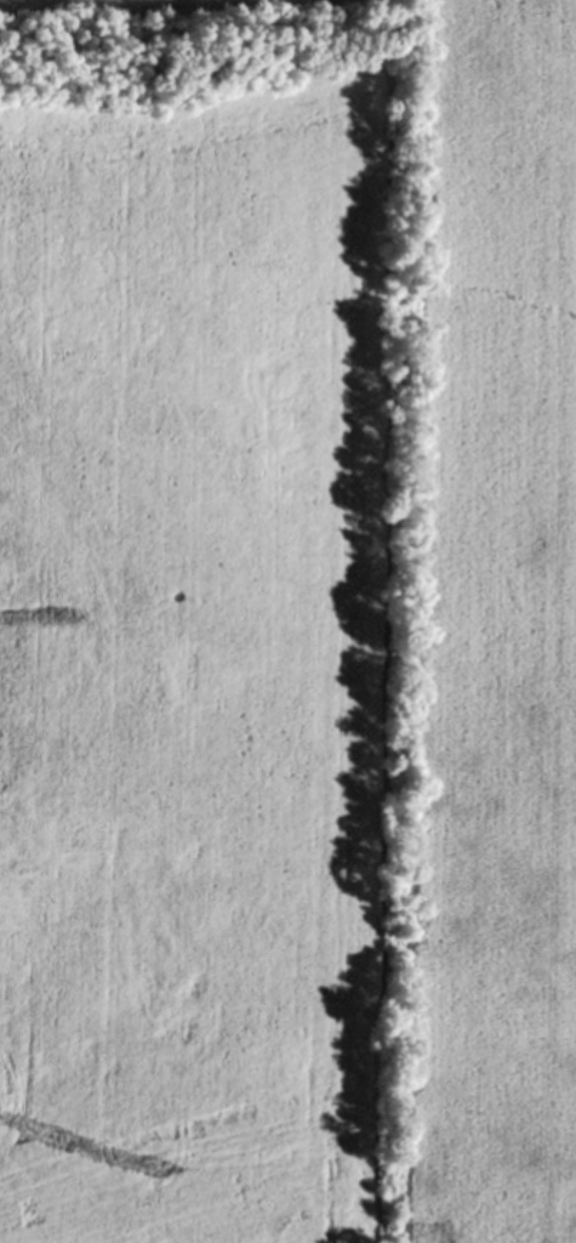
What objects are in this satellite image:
crop: (287, 621)

